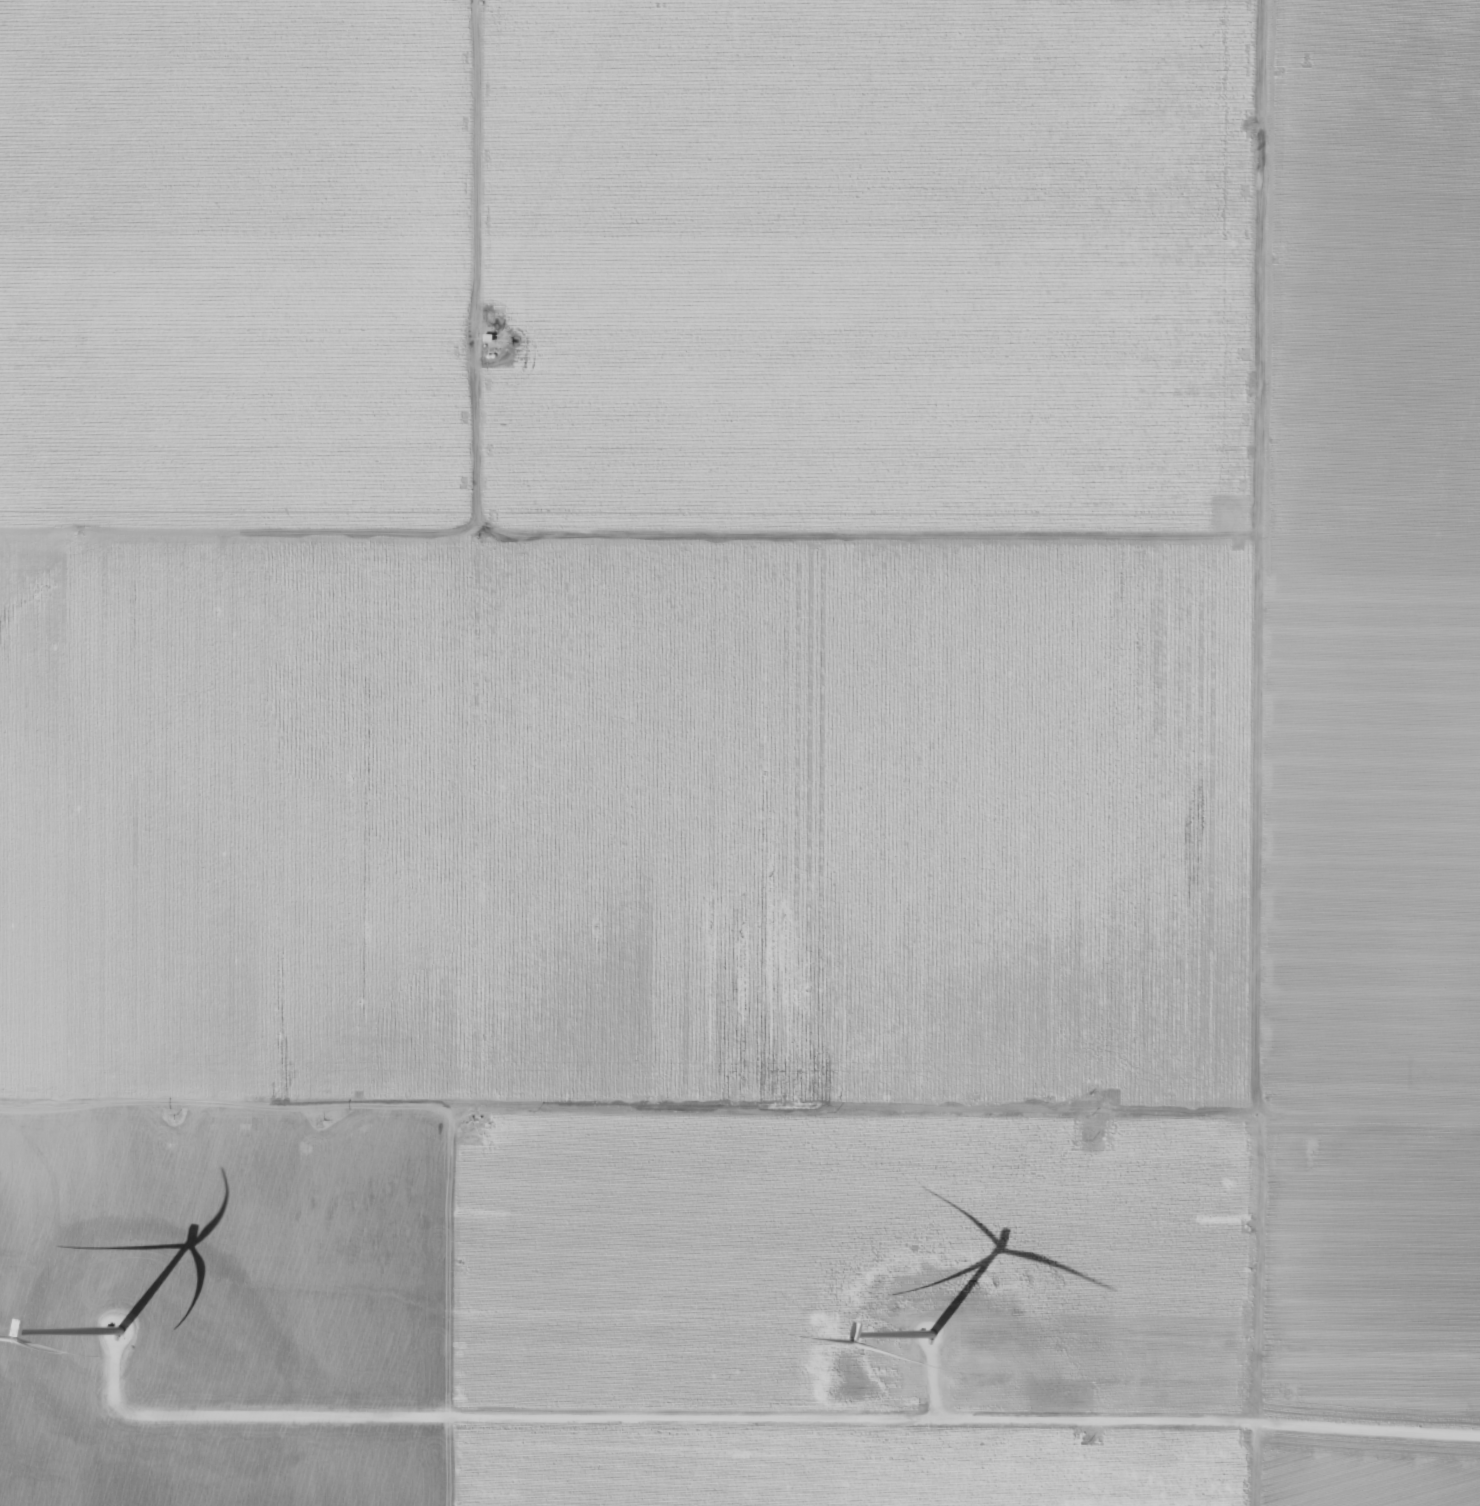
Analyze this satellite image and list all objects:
wind turbine: (936, 1327)
wind turbine: (124, 1355)

